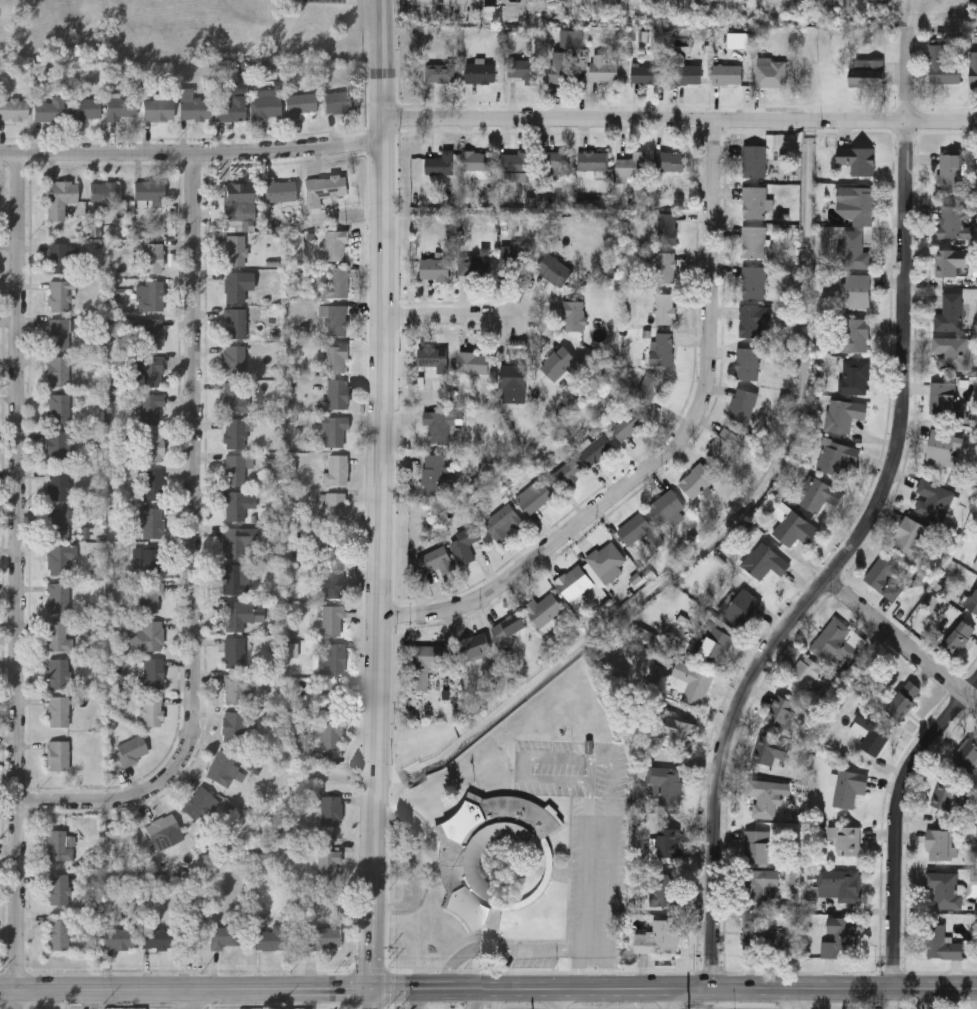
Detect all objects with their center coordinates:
park: (185, 30)
building: (574, 38)
building: (941, 65)
building: (563, 68)
building: (523, 69)
building: (603, 69)
building: (974, 69)
building: (686, 71)
building: (441, 72)
building: (867, 72)
building: (480, 73)
building: (726, 73)
building: (771, 73)
building: (646, 74)
road: (906, 75)
building: (339, 102)
building: (299, 104)
building: (266, 107)
building: (121, 108)
building: (195, 108)
building: (231, 108)
building: (13, 109)
building: (85, 109)
building: (48, 110)
building: (157, 110)
road: (680, 120)
road: (191, 154)
building: (857, 159)
building: (478, 160)
building: (593, 160)
building: (670, 160)
building: (754, 160)
building: (556, 162)
building: (441, 163)
building: (514, 163)
building: (631, 164)
building: (949, 172)
building: (324, 188)
building: (280, 191)
building: (149, 194)
building: (103, 196)
building: (59, 199)
building: (237, 201)
building: (754, 202)
building: (858, 203)
building: (956, 221)
building: (667, 228)
building: (754, 242)
building: (336, 245)
building: (235, 251)
building: (855, 251)
building: (520, 253)
building: (57, 259)
building: (153, 259)
building: (949, 262)
building: (475, 263)
building: (665, 267)
building: (435, 269)
building: (554, 269)
building: (754, 281)
building: (337, 283)
building: (234, 287)
building: (856, 290)
building: (61, 296)
building: (151, 296)
building: (664, 308)
building: (950, 312)
road: (449, 314)
building: (574, 315)
building: (754, 319)
building: (337, 320)
building: (234, 324)
building: (59, 333)
building: (152, 334)
building: (856, 335)
building: (664, 348)
building: (950, 352)
building: (336, 357)
building: (433, 358)
building: (234, 360)
building: (474, 362)
building: (559, 363)
building: (748, 363)
building: (57, 372)
building: (148, 373)
building: (855, 376)
building: (513, 382)
building: (647, 390)
building: (337, 394)
building: (233, 397)
building: (943, 397)
building: (743, 404)
building: (149, 407)
building: (59, 409)
building: (844, 414)
building: (437, 425)
building: (330, 430)
building: (234, 433)
building: (724, 444)
building: (60, 447)
building: (153, 447)
building: (944, 447)
building: (596, 449)
road: (670, 453)
building: (838, 456)
building: (235, 469)
building: (335, 471)
building: (437, 474)
building: (565, 475)
building: (696, 480)
building: (58, 485)
building: (150, 485)
building: (822, 493)
building: (536, 498)
building: (933, 498)
road: (380, 504)
building: (237, 505)
building: (666, 507)
building: (334, 508)
building: (503, 521)
building: (58, 523)
building: (151, 523)
building: (795, 528)
building: (640, 534)
building: (910, 536)
building: (239, 541)
building: (465, 544)
road: (196, 546)
building: (60, 558)
building: (436, 560)
building: (607, 560)
building: (150, 561)
building: (764, 561)
road: (835, 562)
building: (335, 568)
building: (884, 576)
building: (235, 579)
road: (19, 581)
building: (575, 582)
building: (150, 597)
building: (59, 598)
building: (973, 600)
building: (741, 605)
building: (544, 609)
building: (241, 613)
building: (332, 619)
building: (960, 634)
building: (147, 636)
building: (58, 637)
road: (899, 641)
building: (715, 642)
building: (837, 642)
building: (475, 645)
building: (234, 652)
building: (331, 658)
building: (425, 662)
building: (58, 673)
building: (153, 673)
building: (810, 675)
building: (692, 681)
building: (240, 687)
building: (905, 698)
building: (151, 710)
building: (781, 710)
building: (58, 712)
building: (338, 717)
building: (233, 727)
building: (871, 730)
building: (676, 732)
building: (770, 748)
building: (131, 750)
road: (538, 754)
building: (966, 754)
building: (57, 756)
building: (223, 769)
building: (666, 783)
building: (849, 787)
building: (951, 794)
building: (765, 797)
building: (198, 804)
building: (330, 811)
road: (895, 817)
building: (162, 828)
parking lot: (586, 836)
building: (846, 838)
building: (121, 841)
building: (665, 843)
building: (940, 843)
building: (757, 845)
building: (59, 846)
building: (458, 863)
road: (420, 864)
building: (328, 867)
building: (759, 883)
building: (839, 885)
building: (664, 888)
building: (945, 888)
building: (57, 889)
building: (58, 934)
building: (761, 935)
building: (841, 936)
building: (225, 937)
building: (658, 937)
building: (157, 938)
building: (325, 938)
building: (270, 939)
building: (120, 940)
building: (942, 942)
road: (503, 949)
road: (933, 985)
road: (677, 986)
road: (416, 988)
traffic signals: (369, 989)
road: (329, 990)
road: (145, 991)
road: (669, 997)
road: (805, 997)
road: (890, 997)
road: (976, 997)
road: (416, 998)
road: (478, 998)
road: (557, 998)
road: (196, 1000)

